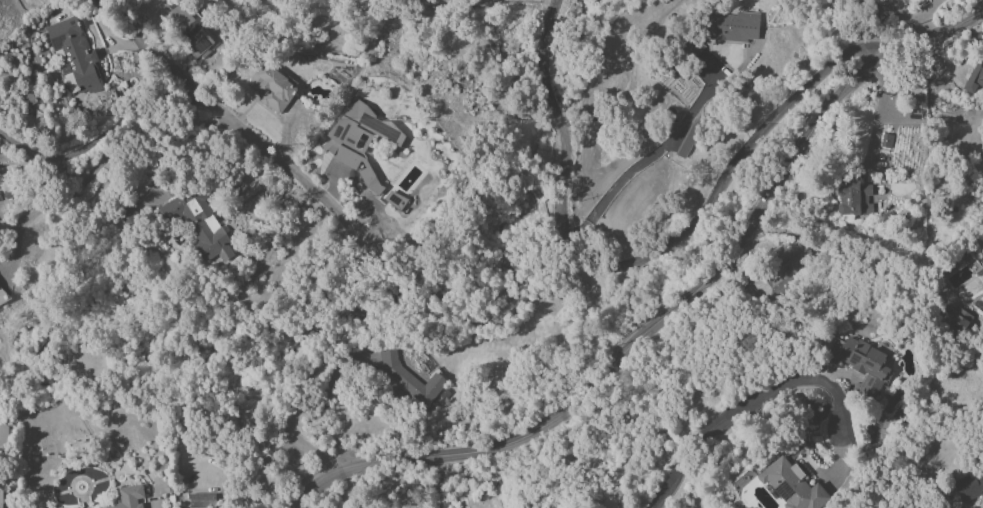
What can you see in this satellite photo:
building: (900, 0)
building: (880, 1)
building: (186, 27)
building: (734, 27)
road: (834, 31)
building: (74, 56)
road: (545, 68)
building: (975, 74)
building: (272, 88)
road: (880, 116)
building: (886, 141)
road: (96, 144)
building: (363, 148)
road: (176, 154)
road: (125, 156)
road: (651, 156)
building: (853, 198)
road: (326, 207)
road: (693, 210)
building: (198, 224)
building: (784, 273)
road: (672, 309)
building: (958, 322)
building: (862, 364)
building: (408, 380)
road: (752, 400)
road: (437, 482)
building: (789, 484)
building: (969, 485)
building: (128, 497)
building: (0, 498)
building: (201, 500)

